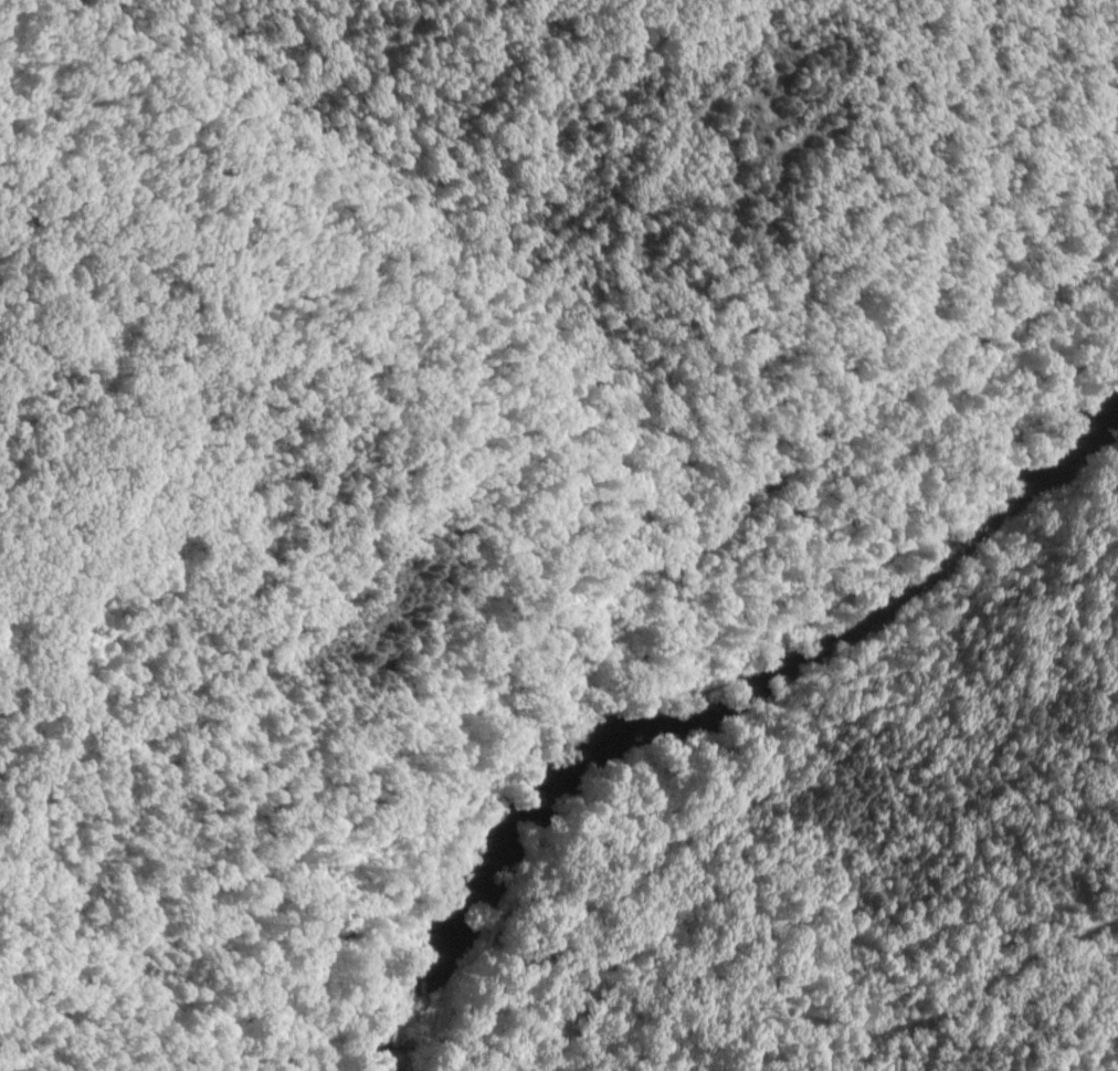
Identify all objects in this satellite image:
river: (704, 702)

